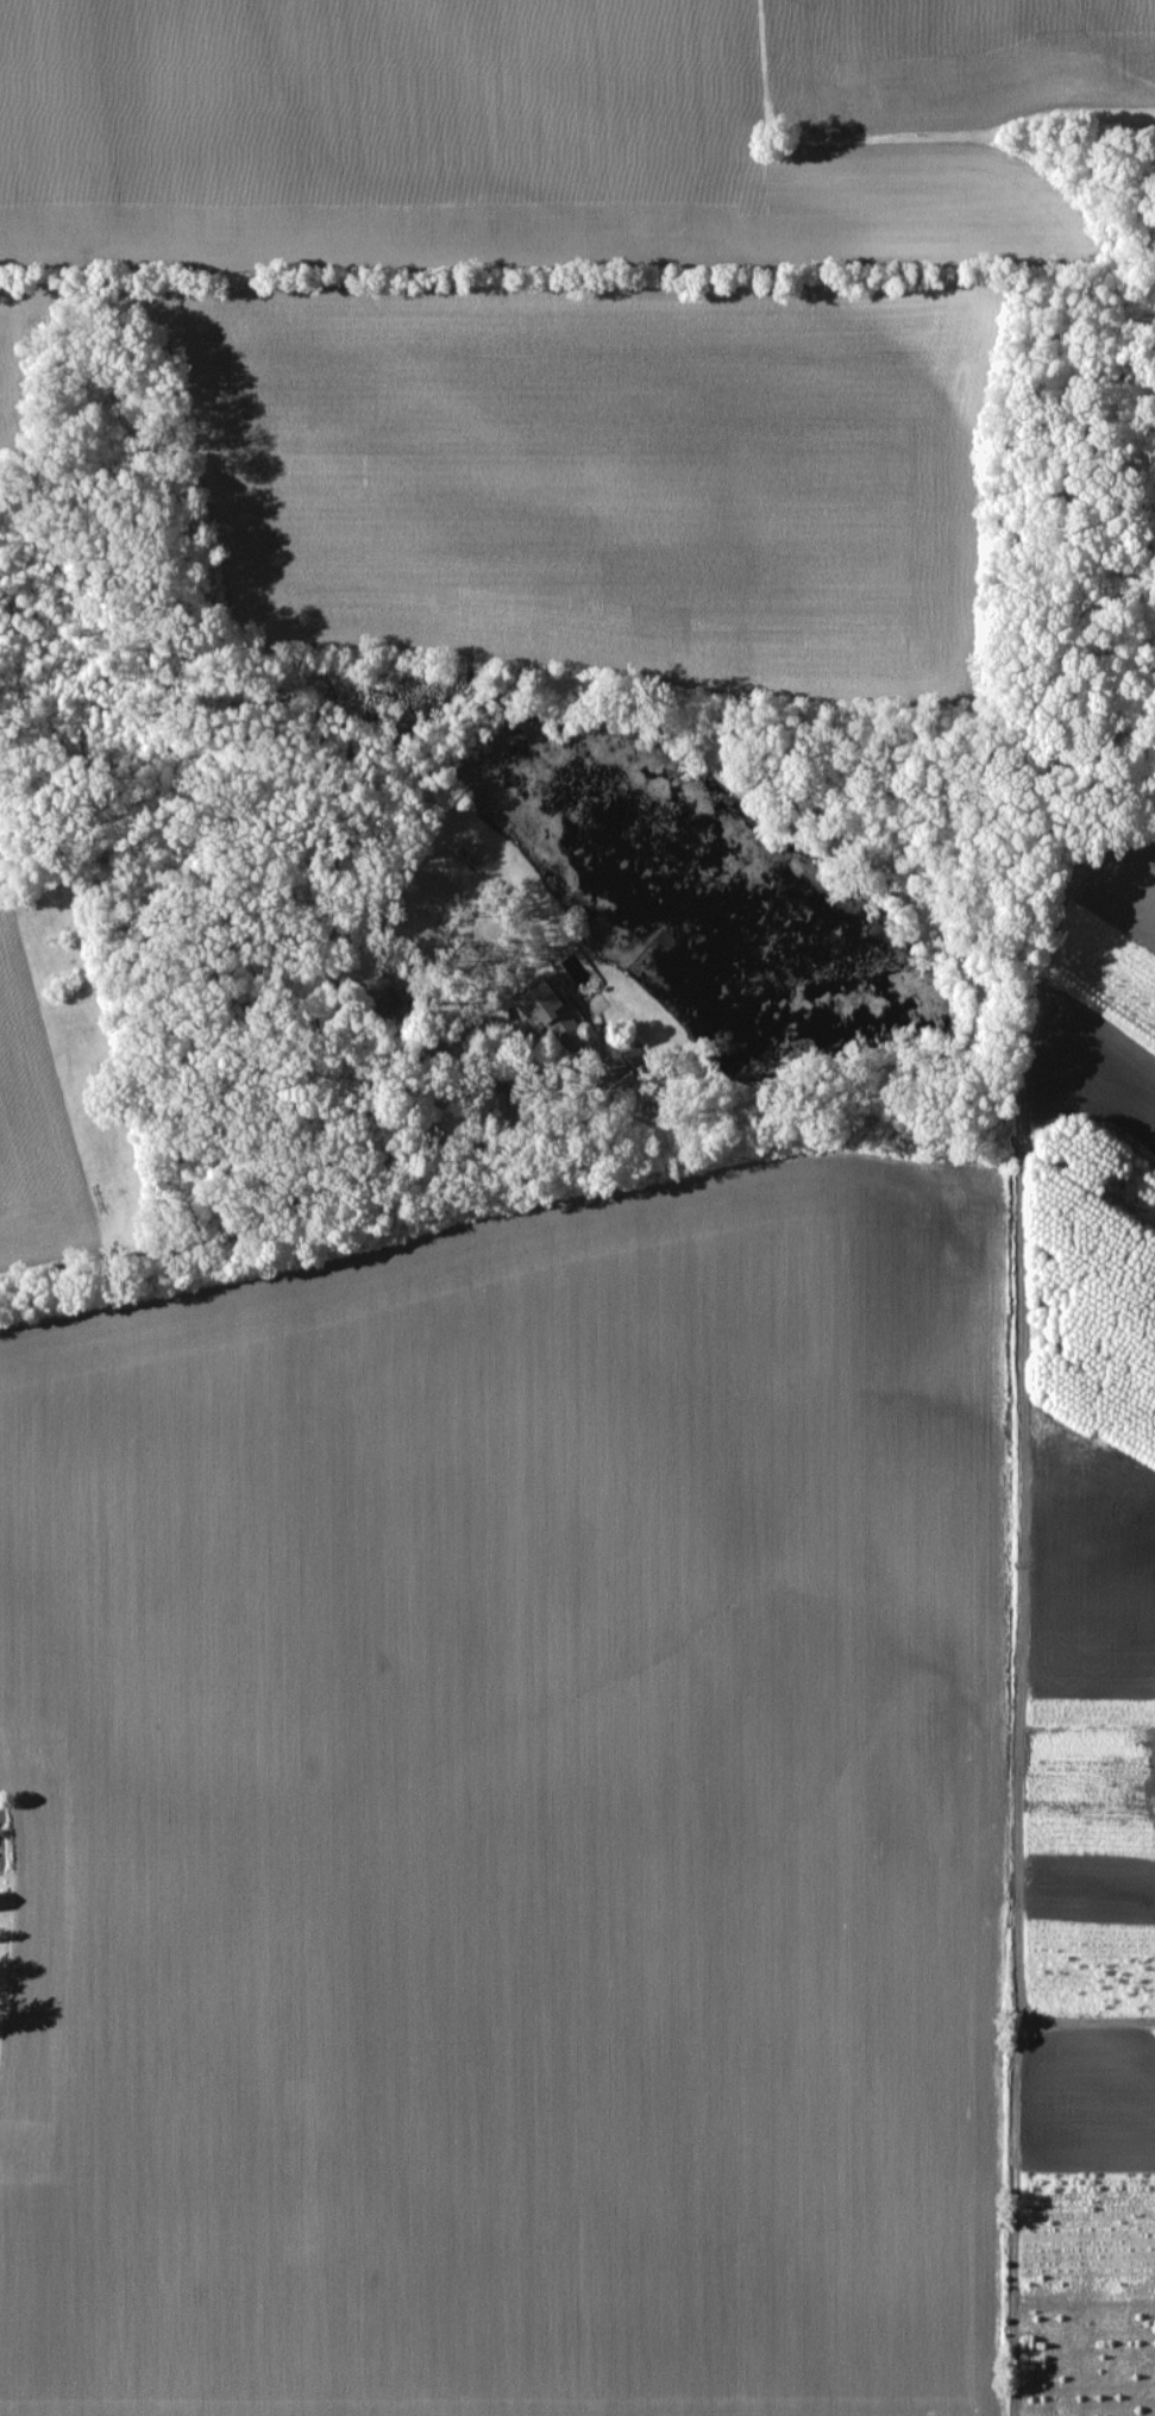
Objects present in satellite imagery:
building: (453, 874)
building: (385, 994)
building: (551, 1016)
building: (632, 1066)
road: (498, 1073)
road: (397, 1220)
road: (211, 1245)

